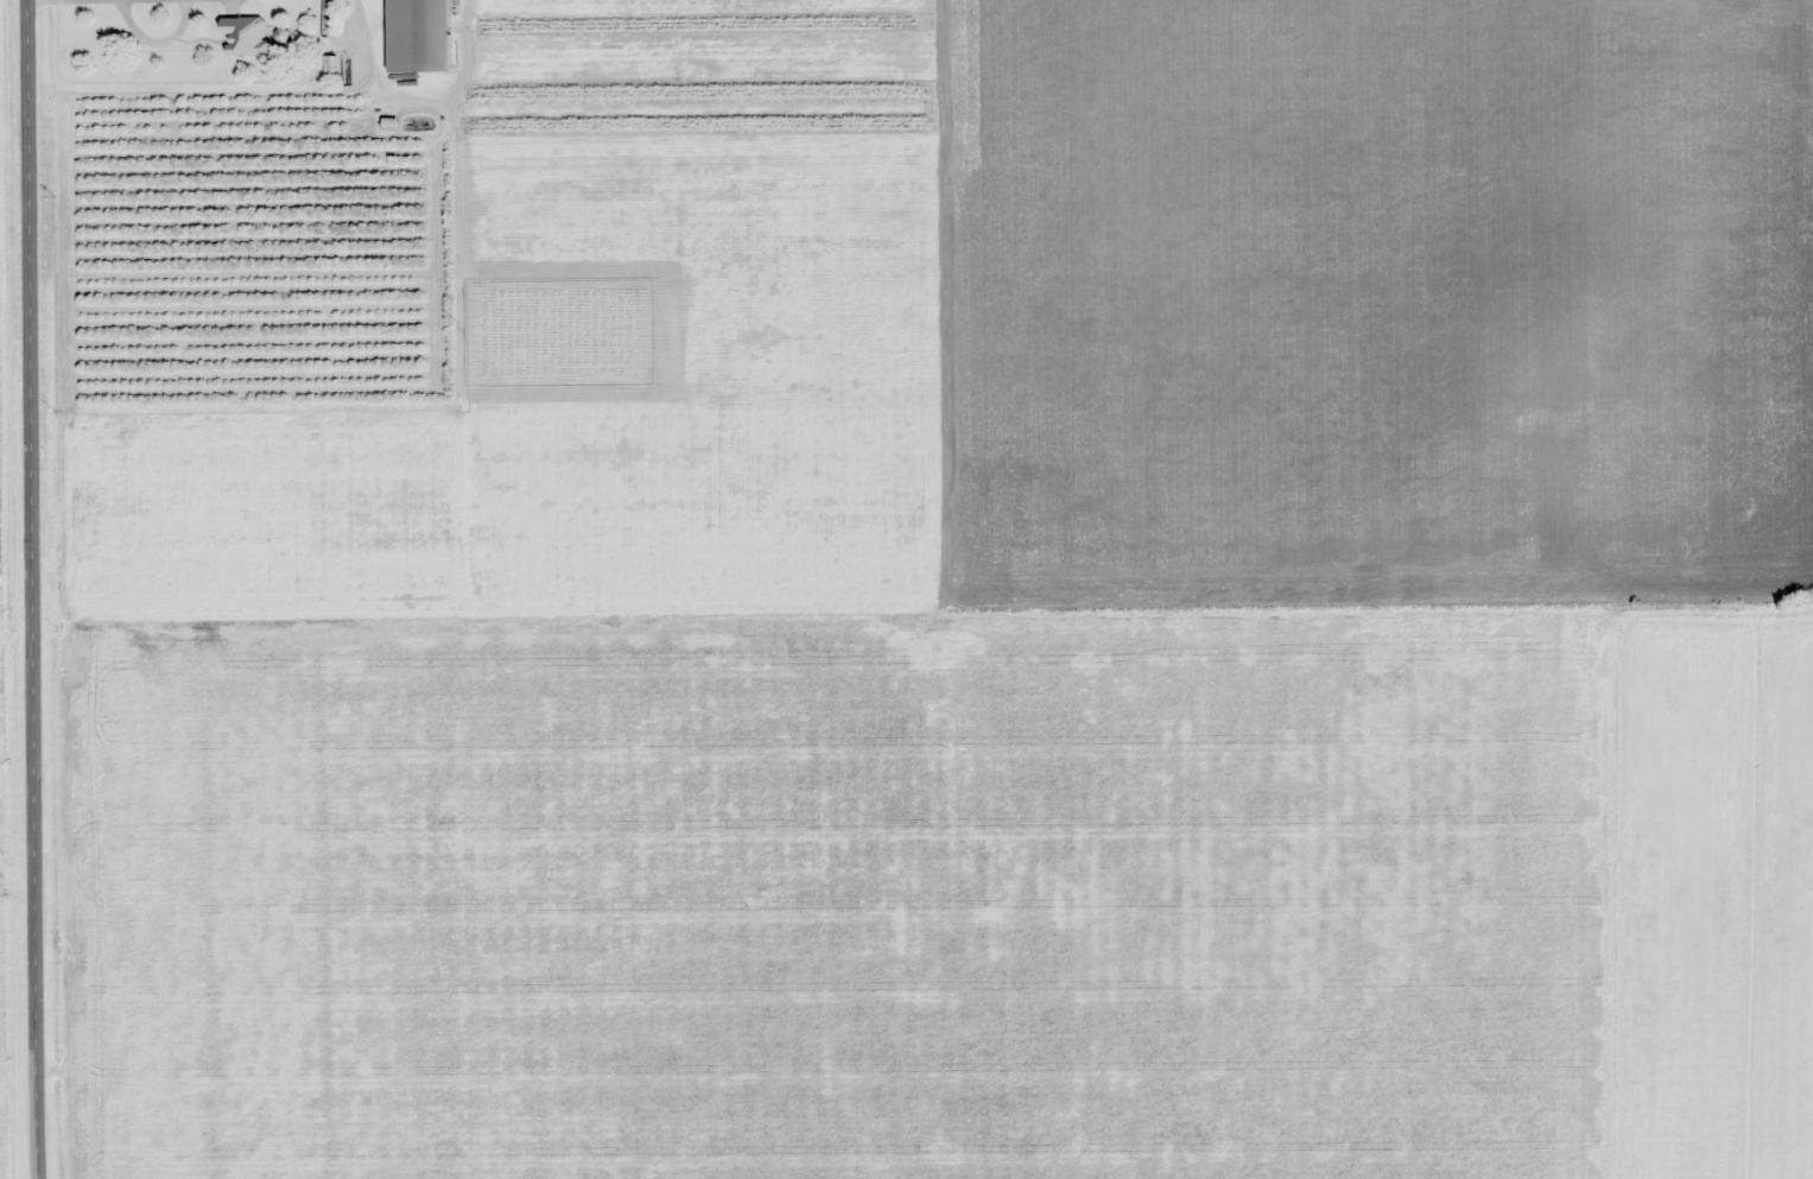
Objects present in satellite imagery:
building: (418, 36)
building: (245, 37)
road: (32, 589)

